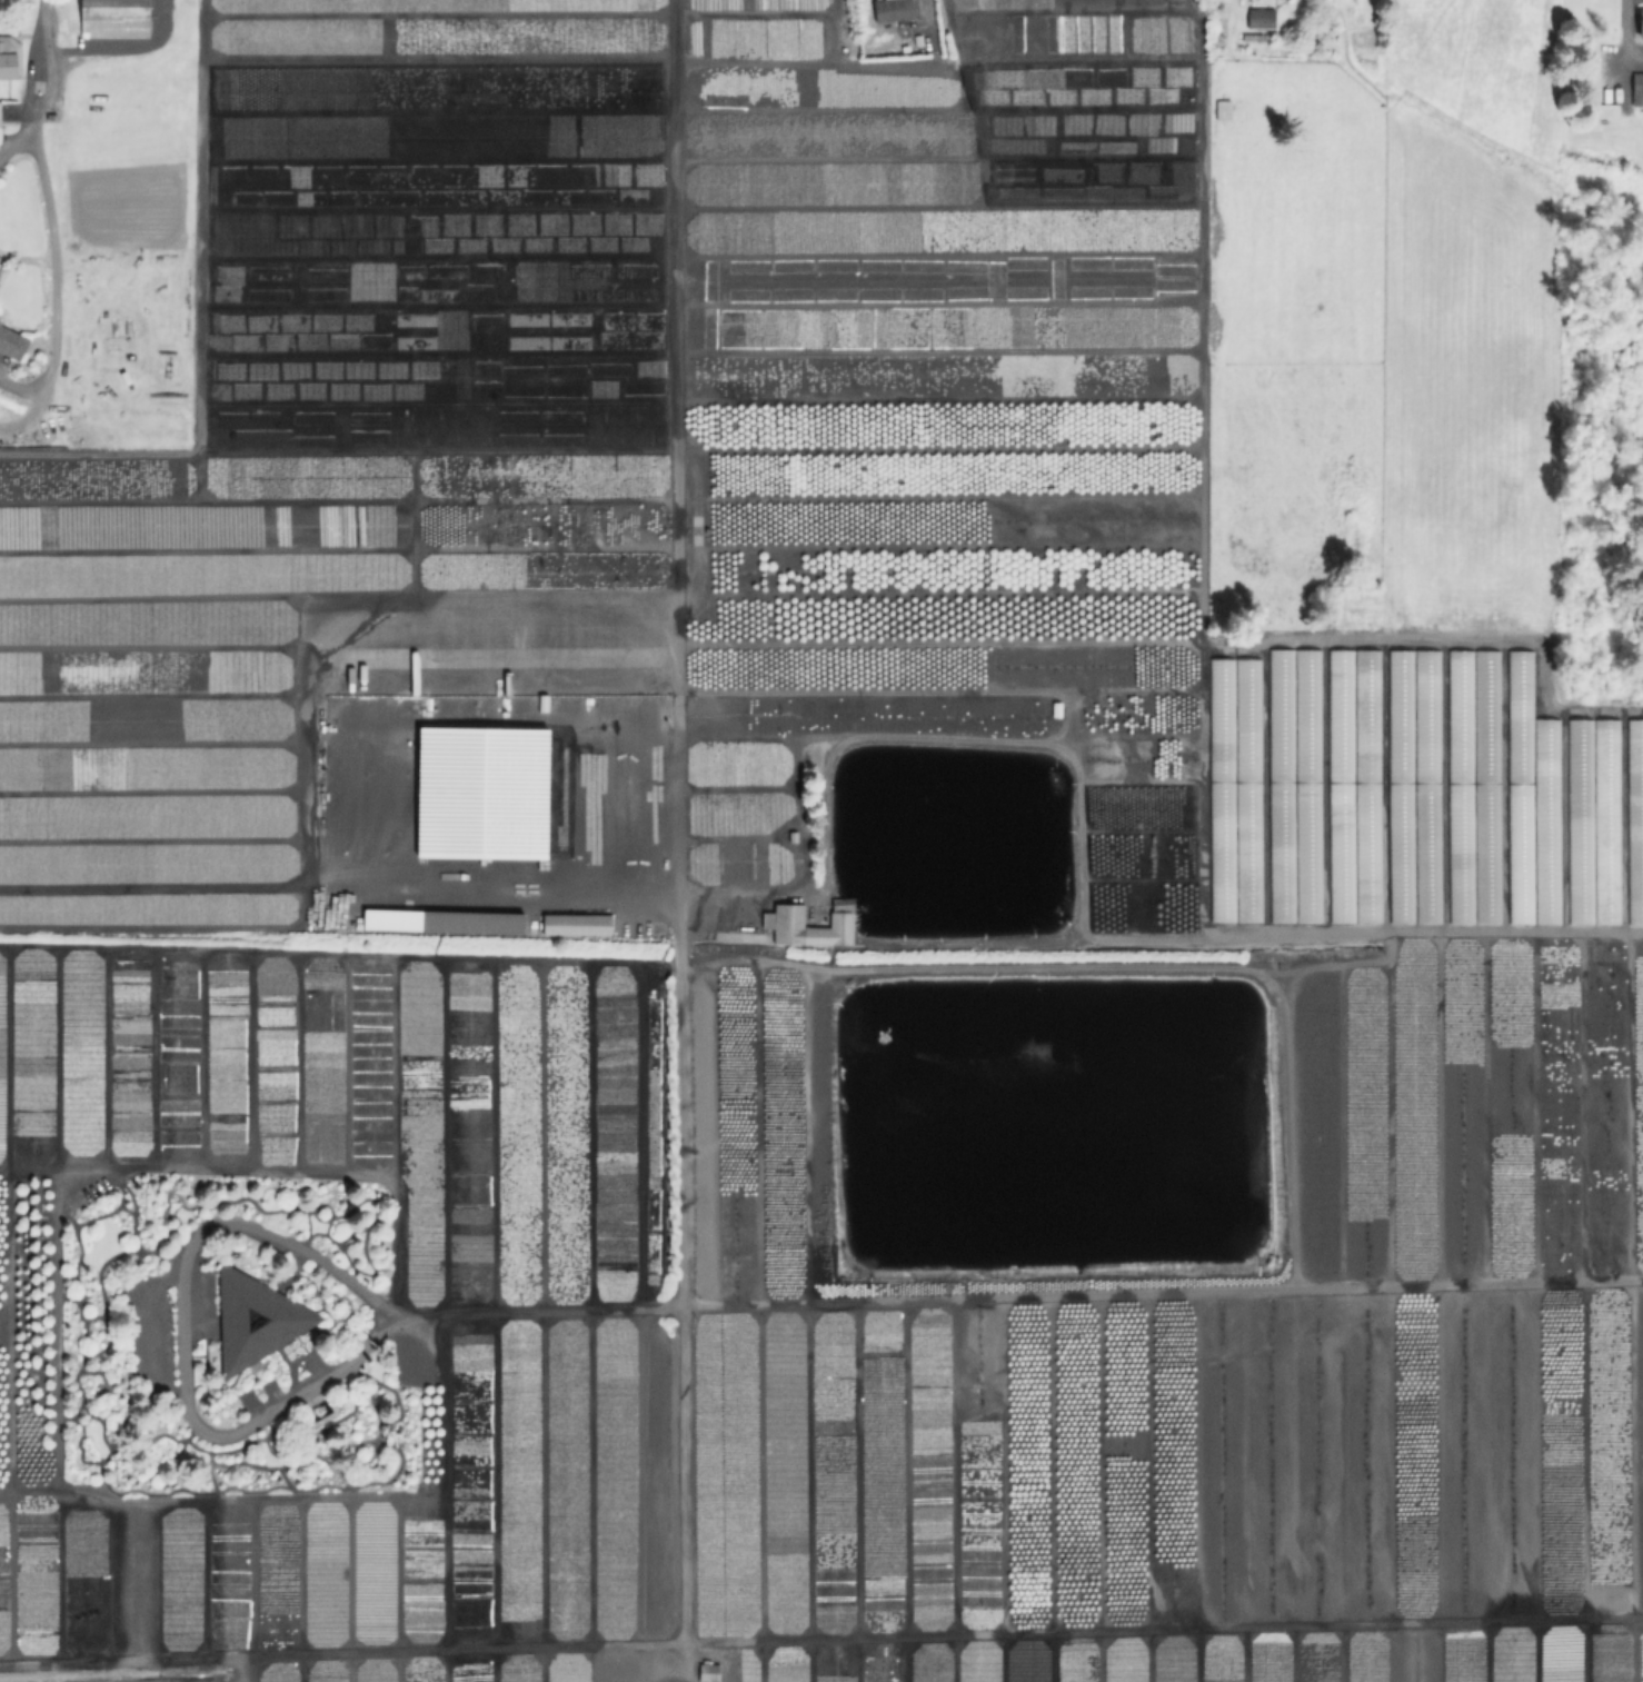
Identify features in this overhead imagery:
building: (1282, 0)
road: (925, 7)
building: (897, 10)
building: (114, 19)
building: (1261, 21)
building: (1641, 26)
building: (907, 28)
building: (907, 48)
building: (10, 59)
building: (915, 66)
road: (47, 67)
building: (918, 81)
building: (1637, 90)
building: (0, 122)
road: (14, 145)
road: (53, 280)
building: (12, 342)
road: (30, 411)
road: (508, 639)
road: (676, 653)
building: (1293, 787)
building: (1351, 787)
building: (1412, 788)
building: (1471, 788)
building: (1233, 792)
building: (1529, 804)
building: (1633, 823)
building: (1591, 824)
building: (442, 920)
building: (578, 925)
building: (810, 928)
road: (1015, 1296)
building: (256, 1321)
road: (180, 1336)
road: (686, 1672)
building: (710, 1672)

